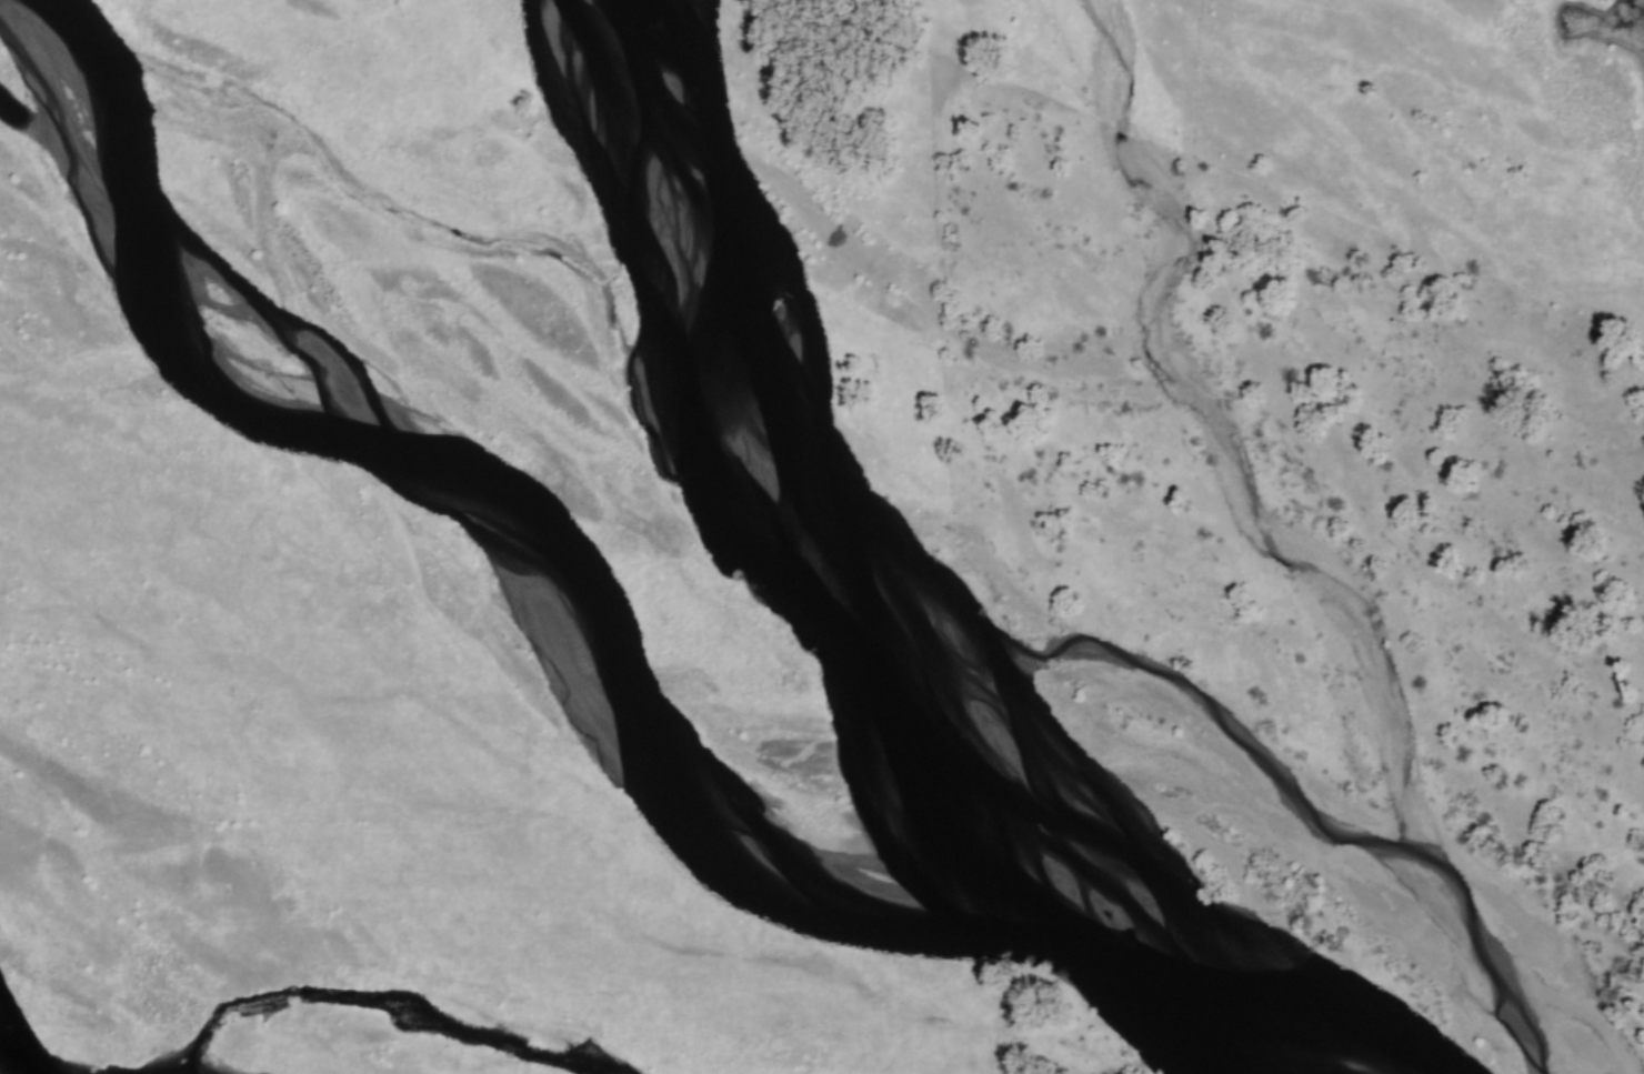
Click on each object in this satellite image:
river: (853, 598)

